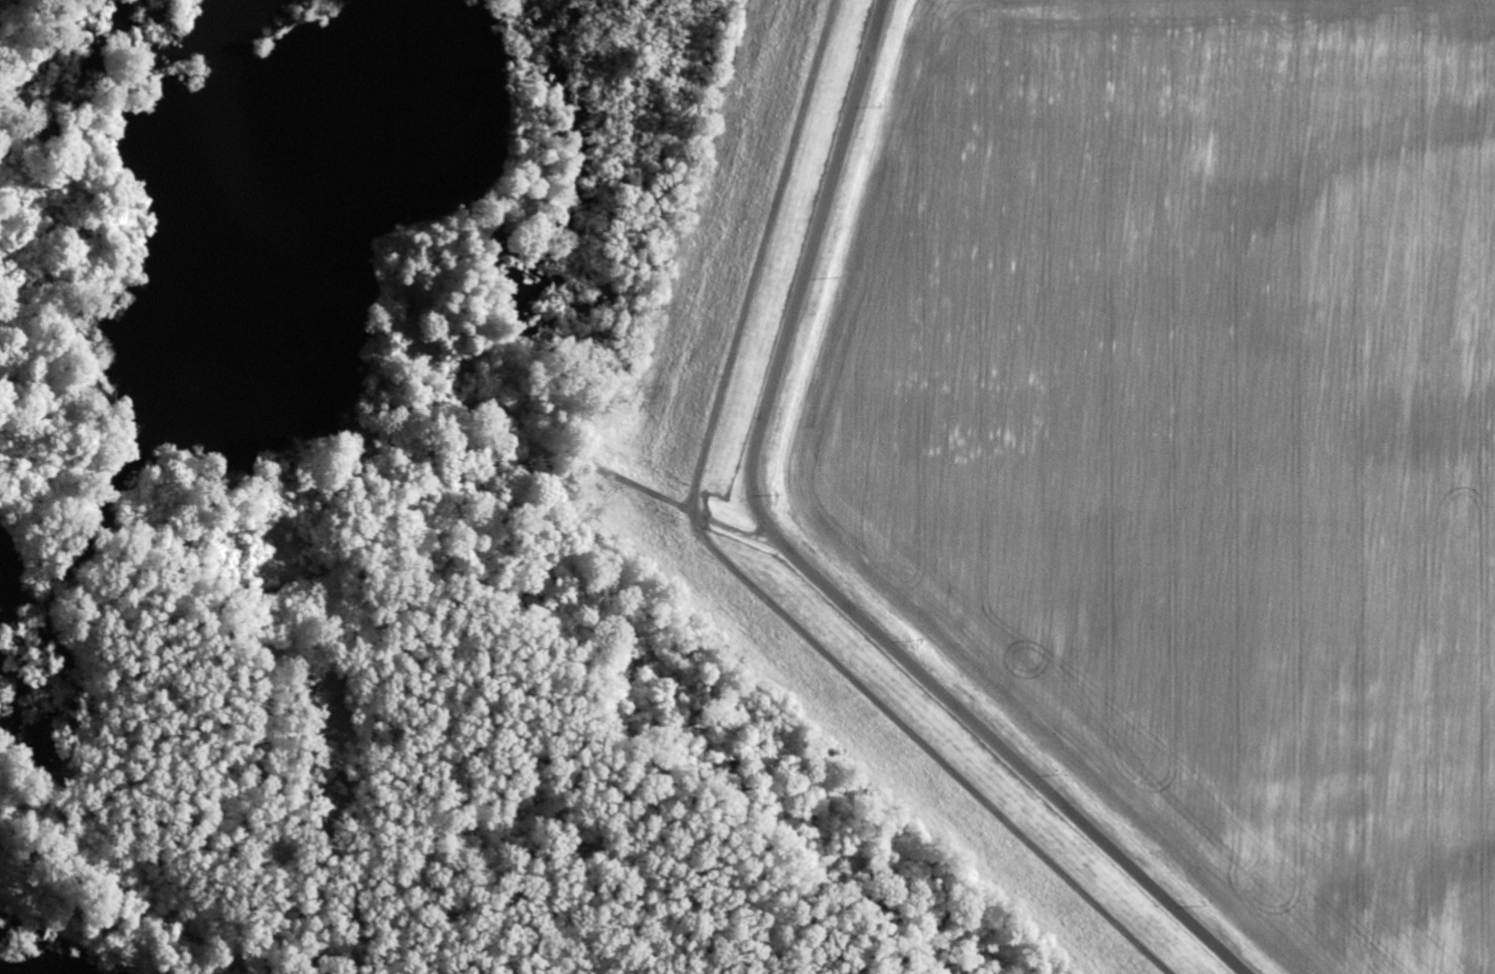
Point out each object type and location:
road: (680, 505)
road: (809, 565)
road: (731, 566)

